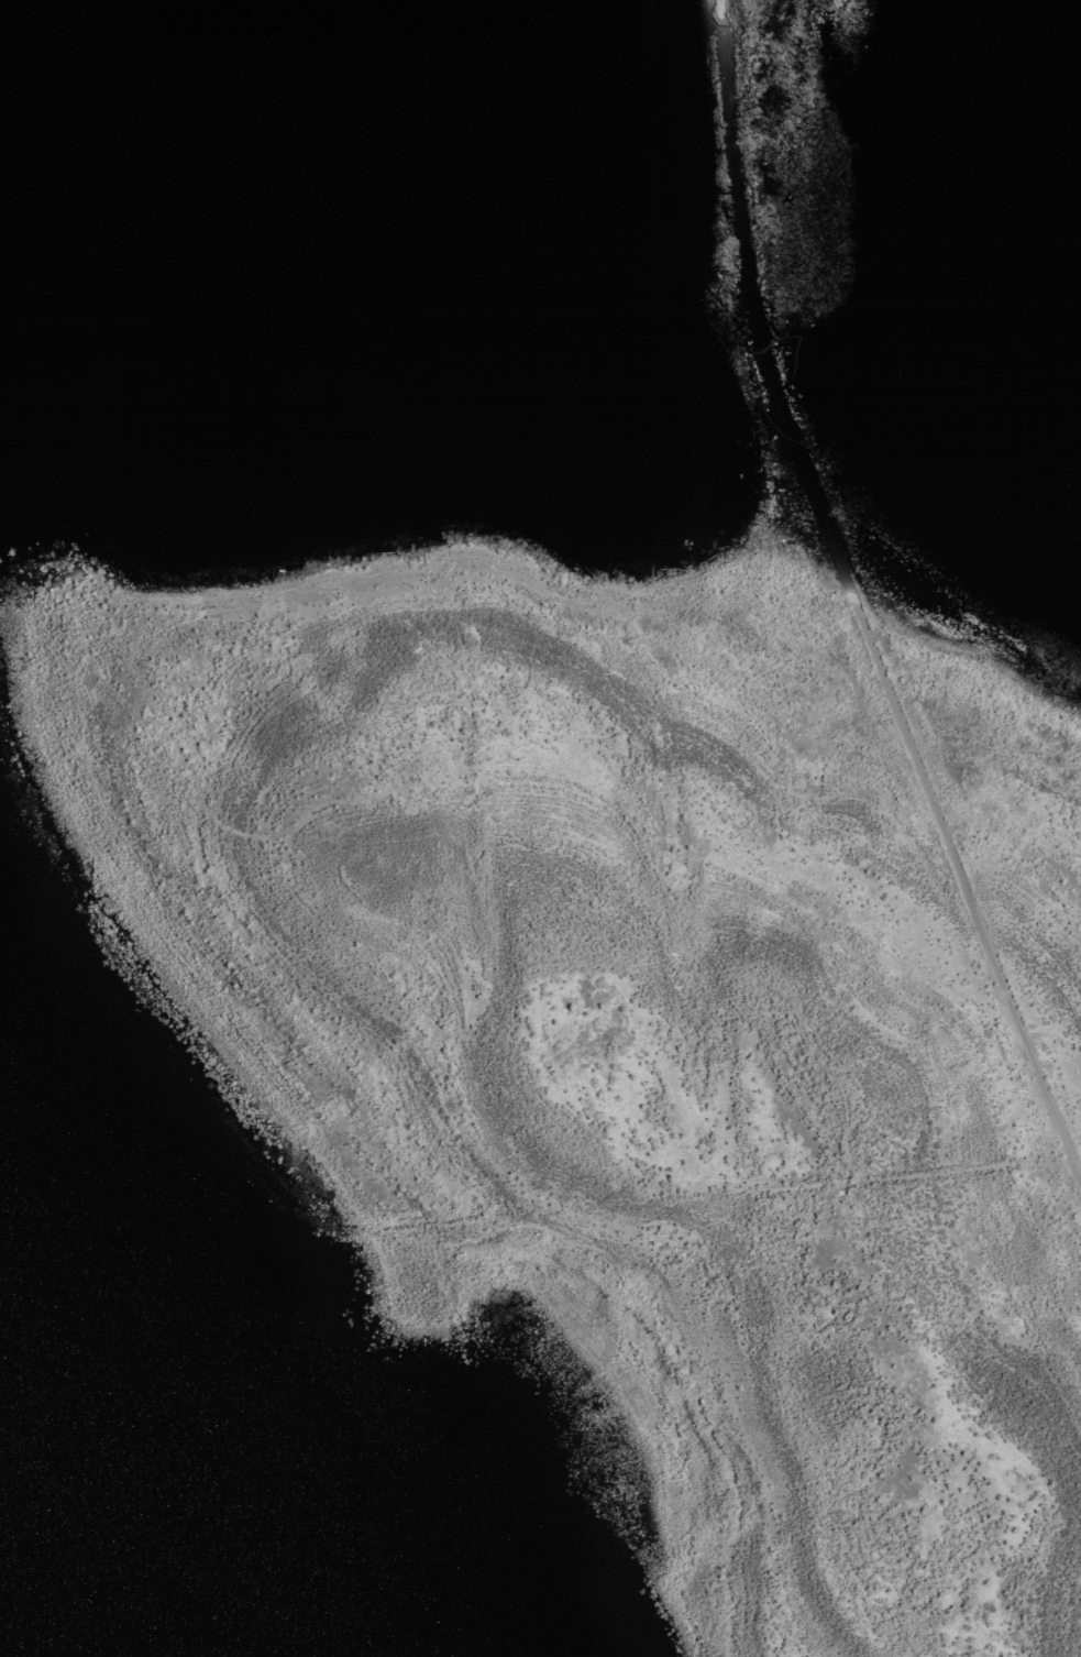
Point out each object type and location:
road: (856, 606)
park: (644, 965)

